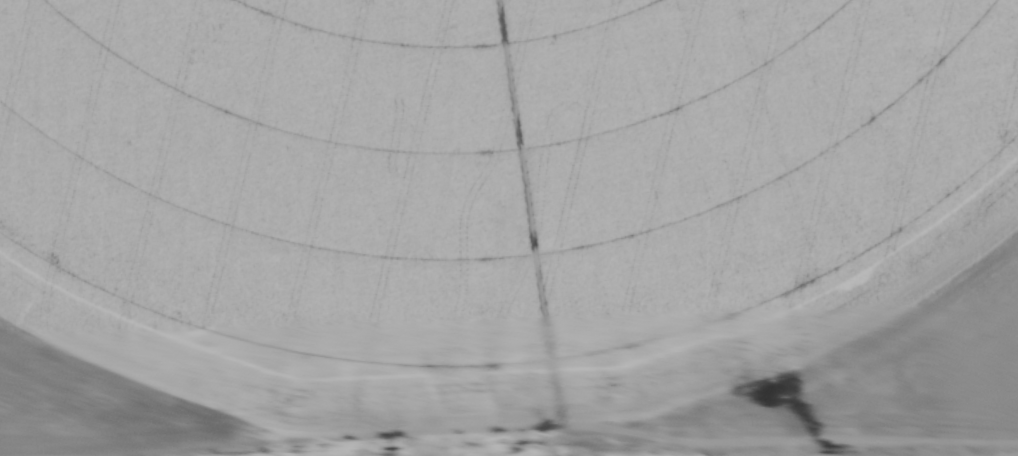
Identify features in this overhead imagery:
crop: (506, 219)
road: (579, 445)
crop: (816, 455)

